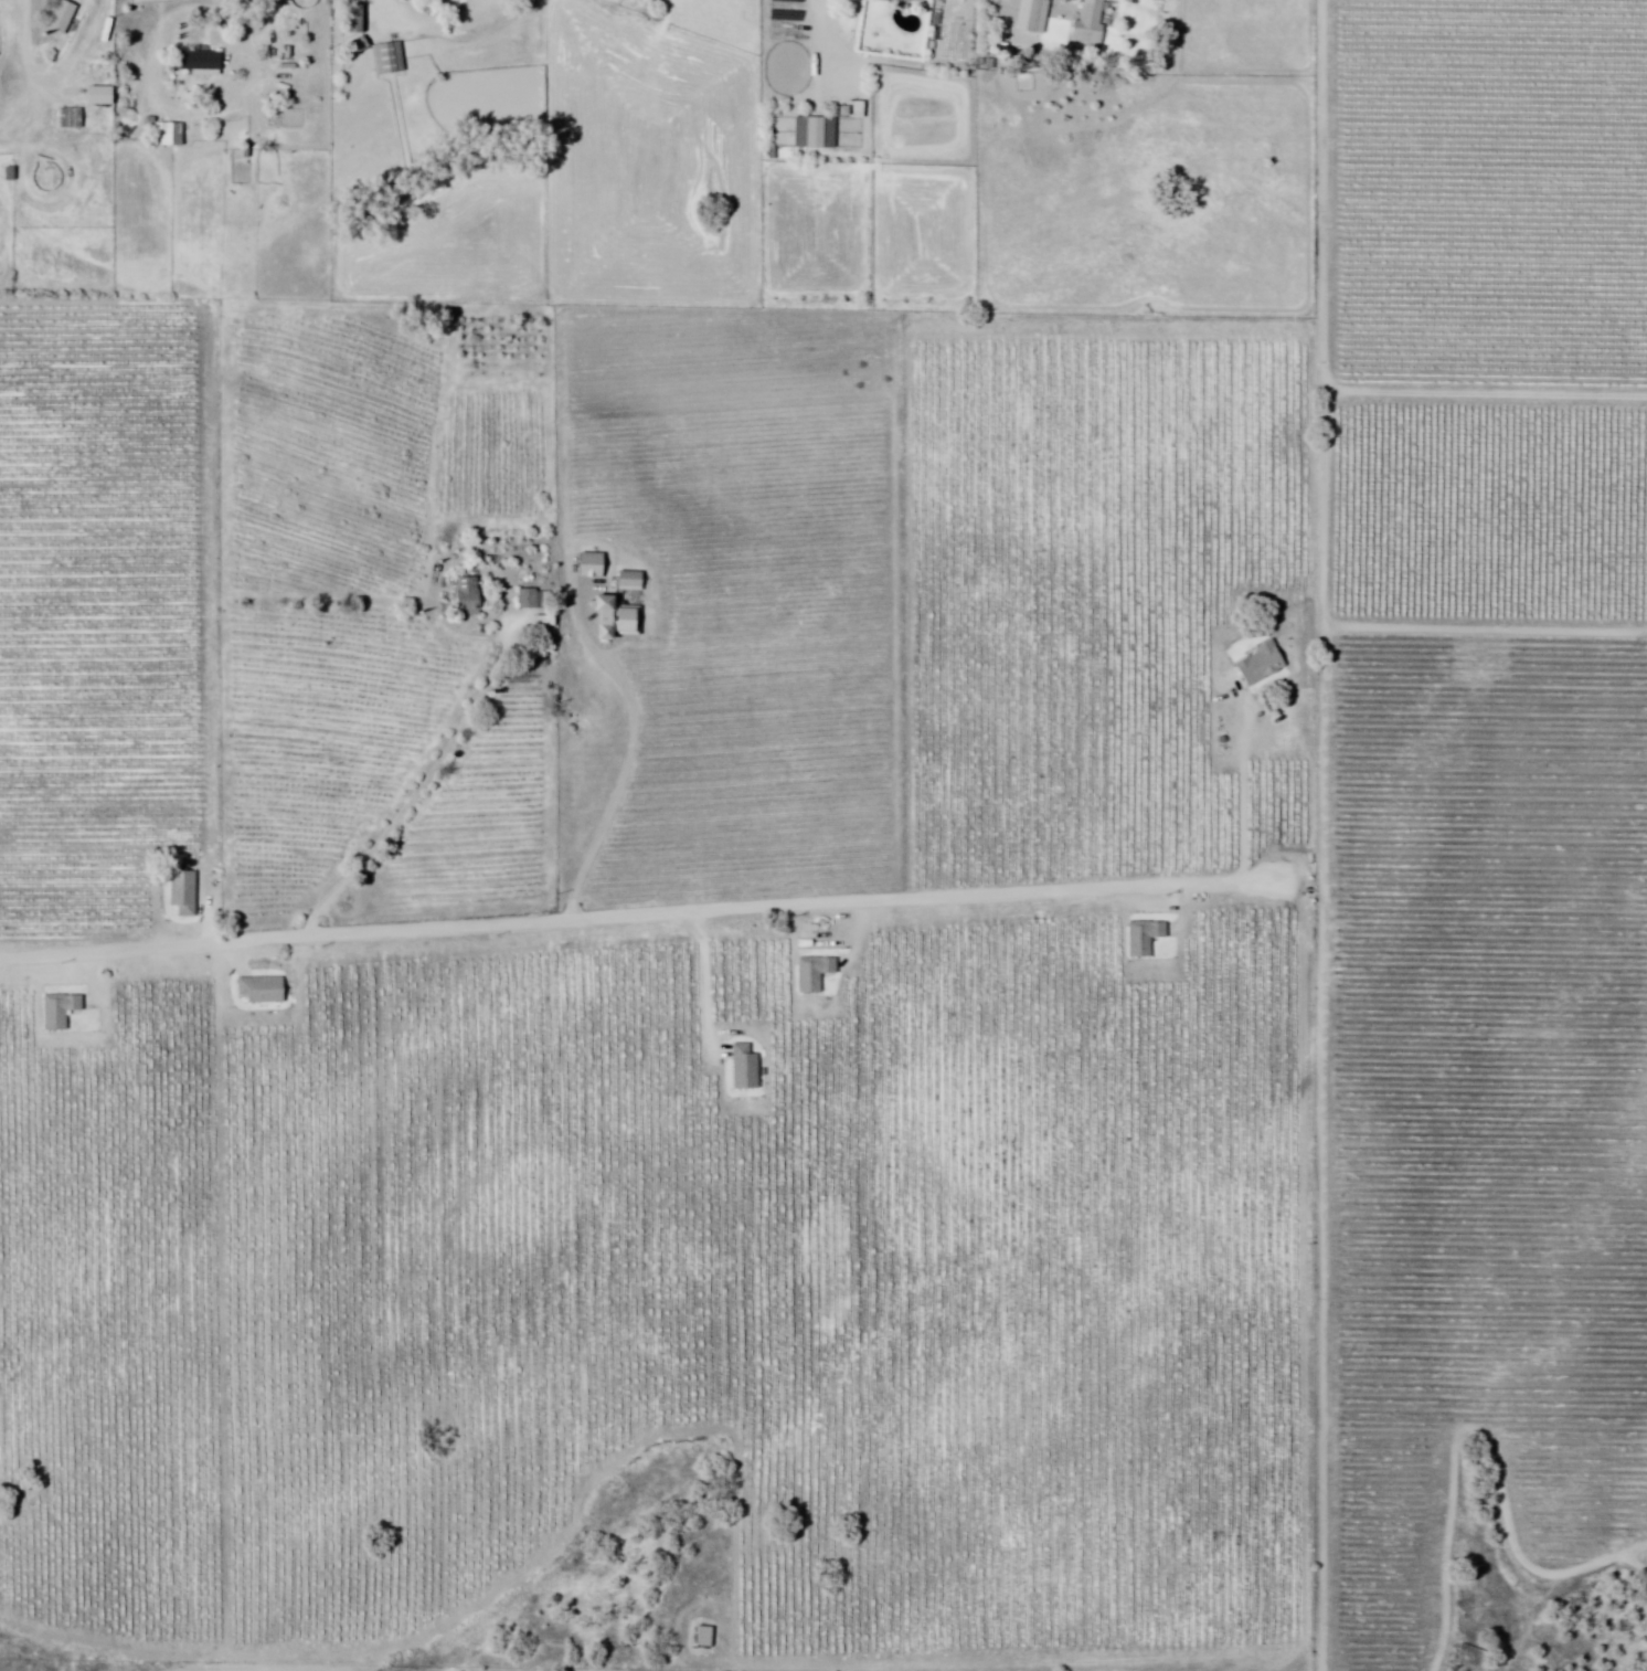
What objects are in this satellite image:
building: (885, 0)
road: (241, 11)
building: (62, 17)
building: (1033, 17)
building: (354, 19)
building: (1088, 24)
road: (28, 46)
building: (355, 47)
building: (386, 59)
building: (200, 63)
building: (89, 82)
building: (70, 119)
building: (815, 131)
building: (170, 134)
building: (592, 567)
building: (630, 583)
building: (466, 600)
building: (528, 601)
building: (616, 620)
building: (542, 623)
building: (1261, 665)
road: (426, 781)
road: (623, 787)
road: (1246, 790)
building: (183, 892)
road: (648, 916)
building: (1145, 935)
building: (815, 972)
building: (262, 990)
building: (60, 1011)
building: (744, 1067)
building: (703, 1637)

